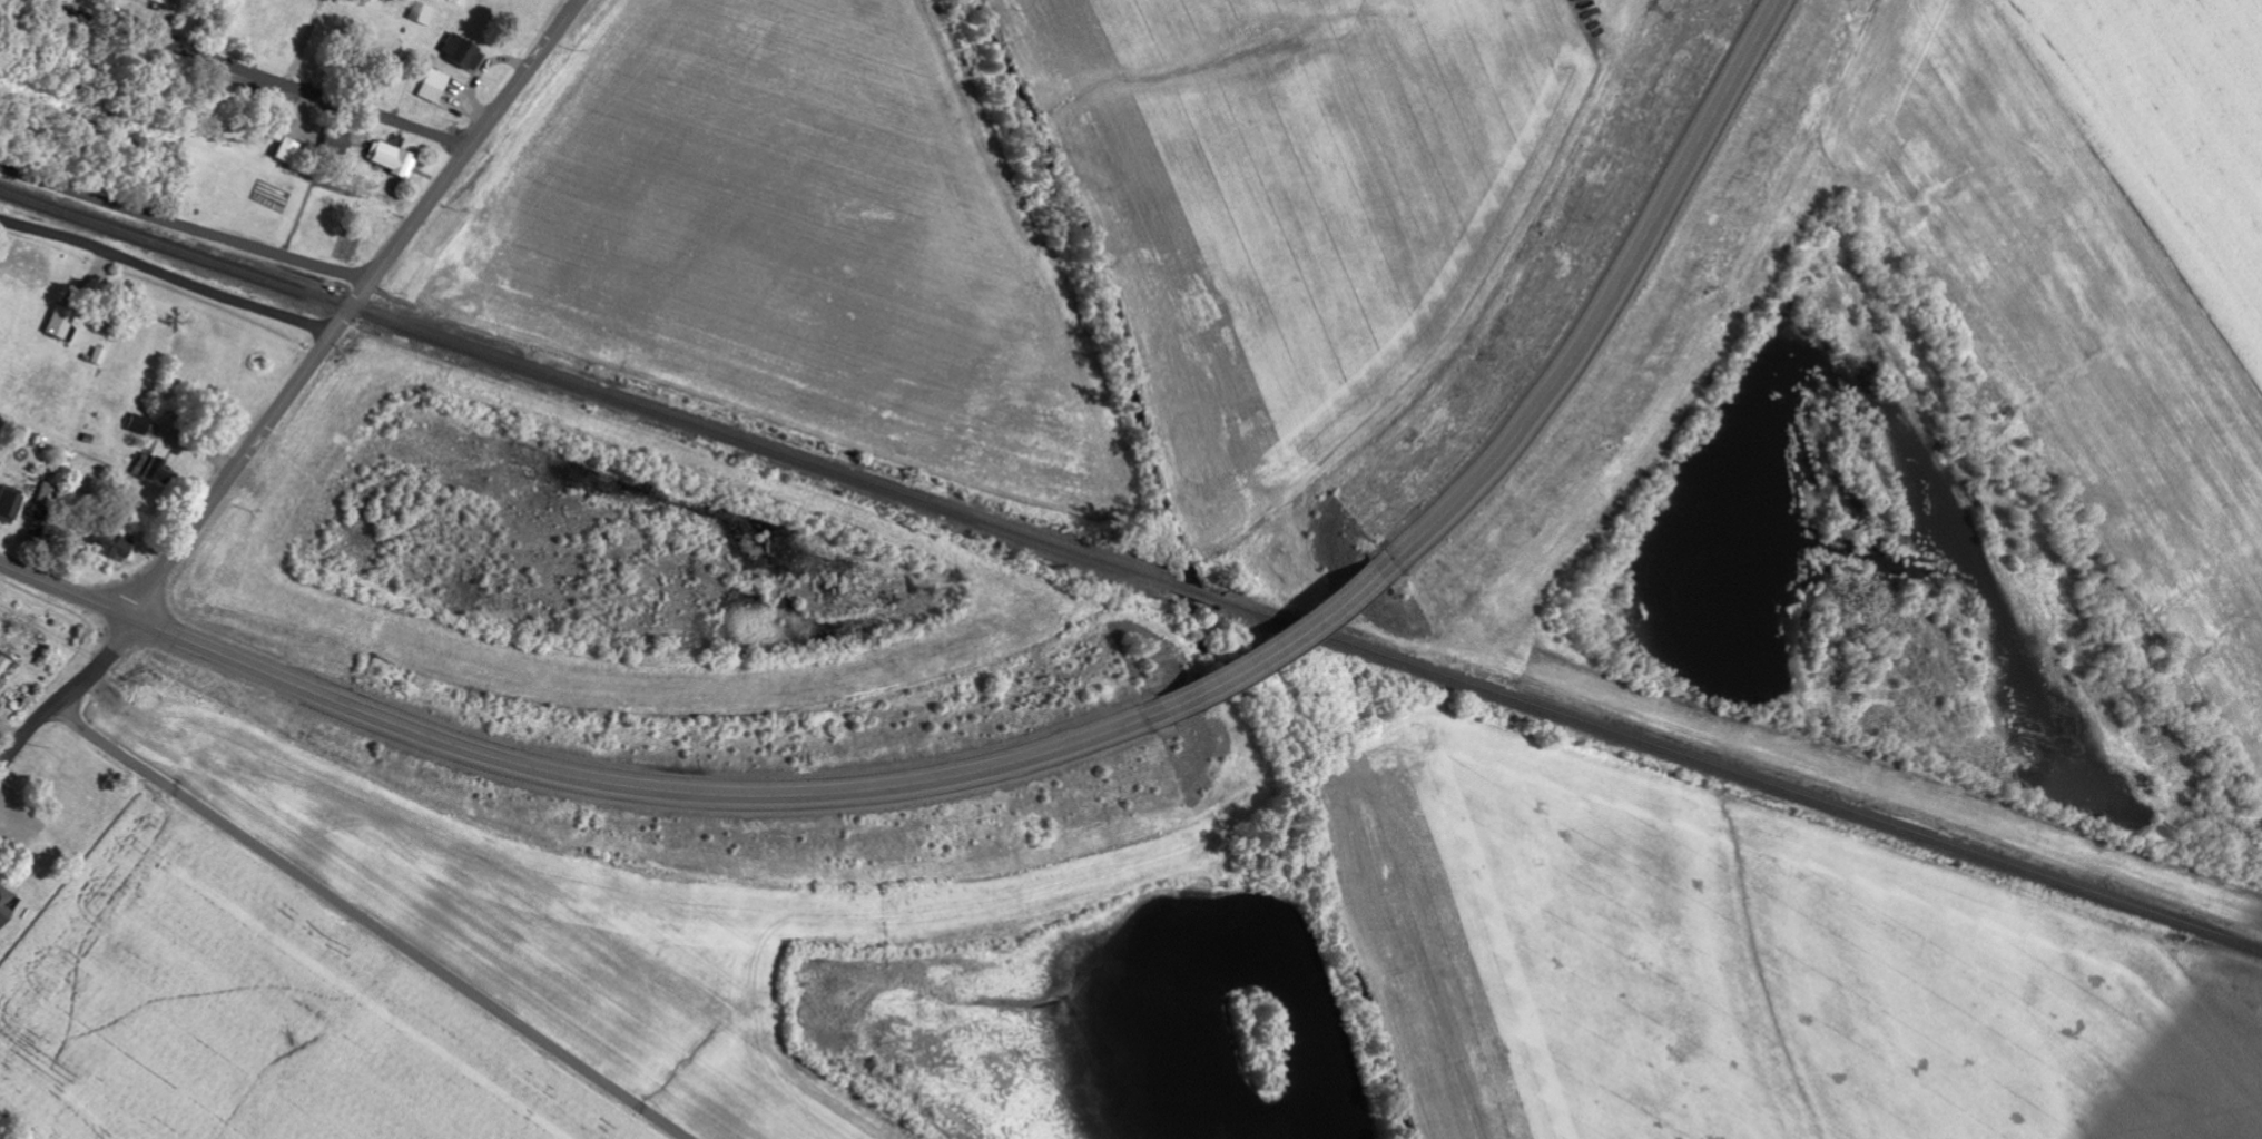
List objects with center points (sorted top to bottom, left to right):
building: (424, 14)
building: (464, 53)
road: (252, 73)
building: (436, 87)
building: (338, 141)
building: (395, 160)
road: (184, 226)
road: (166, 277)
road: (1610, 301)
road: (351, 307)
building: (62, 322)
railway: (587, 393)
building: (140, 424)
building: (11, 507)
building: (115, 546)
road: (67, 597)
railway: (1201, 600)
road: (1277, 656)
building: (3, 665)
road: (96, 666)
road: (26, 737)
railway: (1744, 780)
road: (632, 793)
building: (6, 906)
road: (370, 923)

